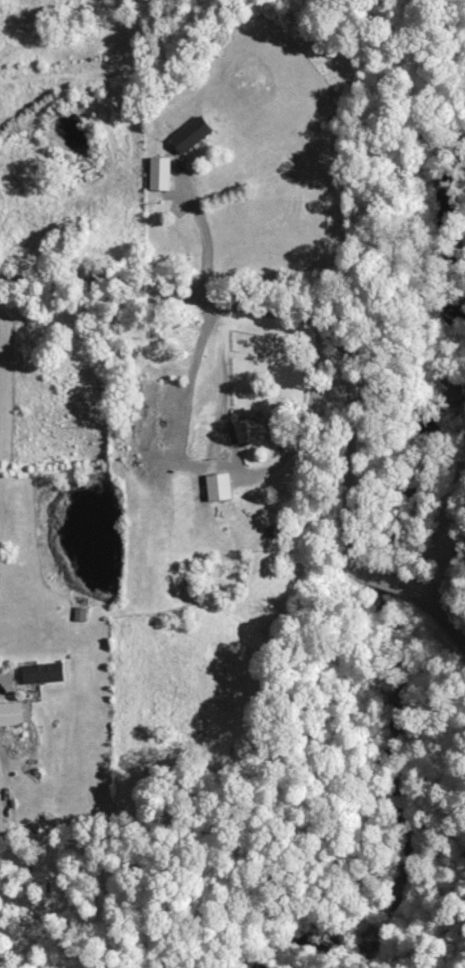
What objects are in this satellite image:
building: (190, 133)
building: (158, 172)
road: (203, 234)
road: (336, 355)
building: (248, 427)
road: (219, 468)
building: (216, 485)
road: (455, 548)
building: (41, 672)
building: (14, 712)

